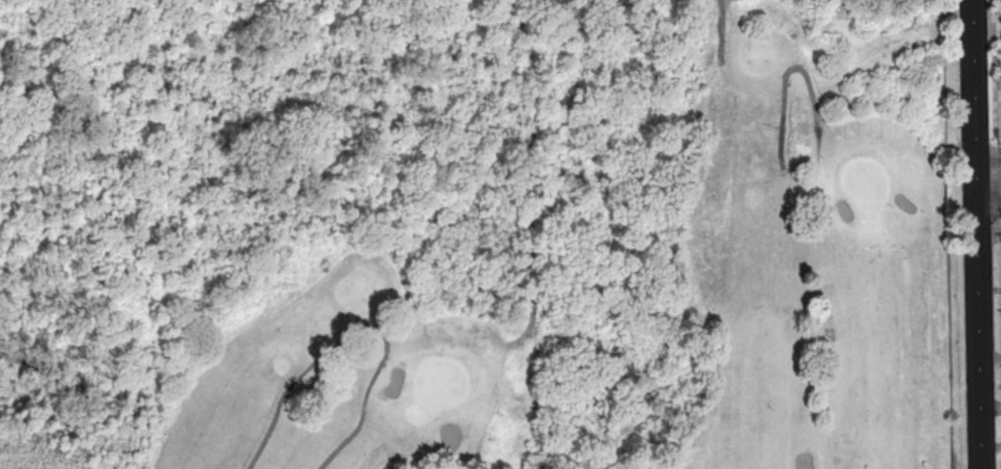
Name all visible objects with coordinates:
road: (720, 31)
road: (810, 92)
road: (994, 96)
road: (987, 153)
road: (987, 178)
road: (987, 212)
road: (528, 233)
park: (479, 234)
road: (974, 234)
road: (359, 329)

